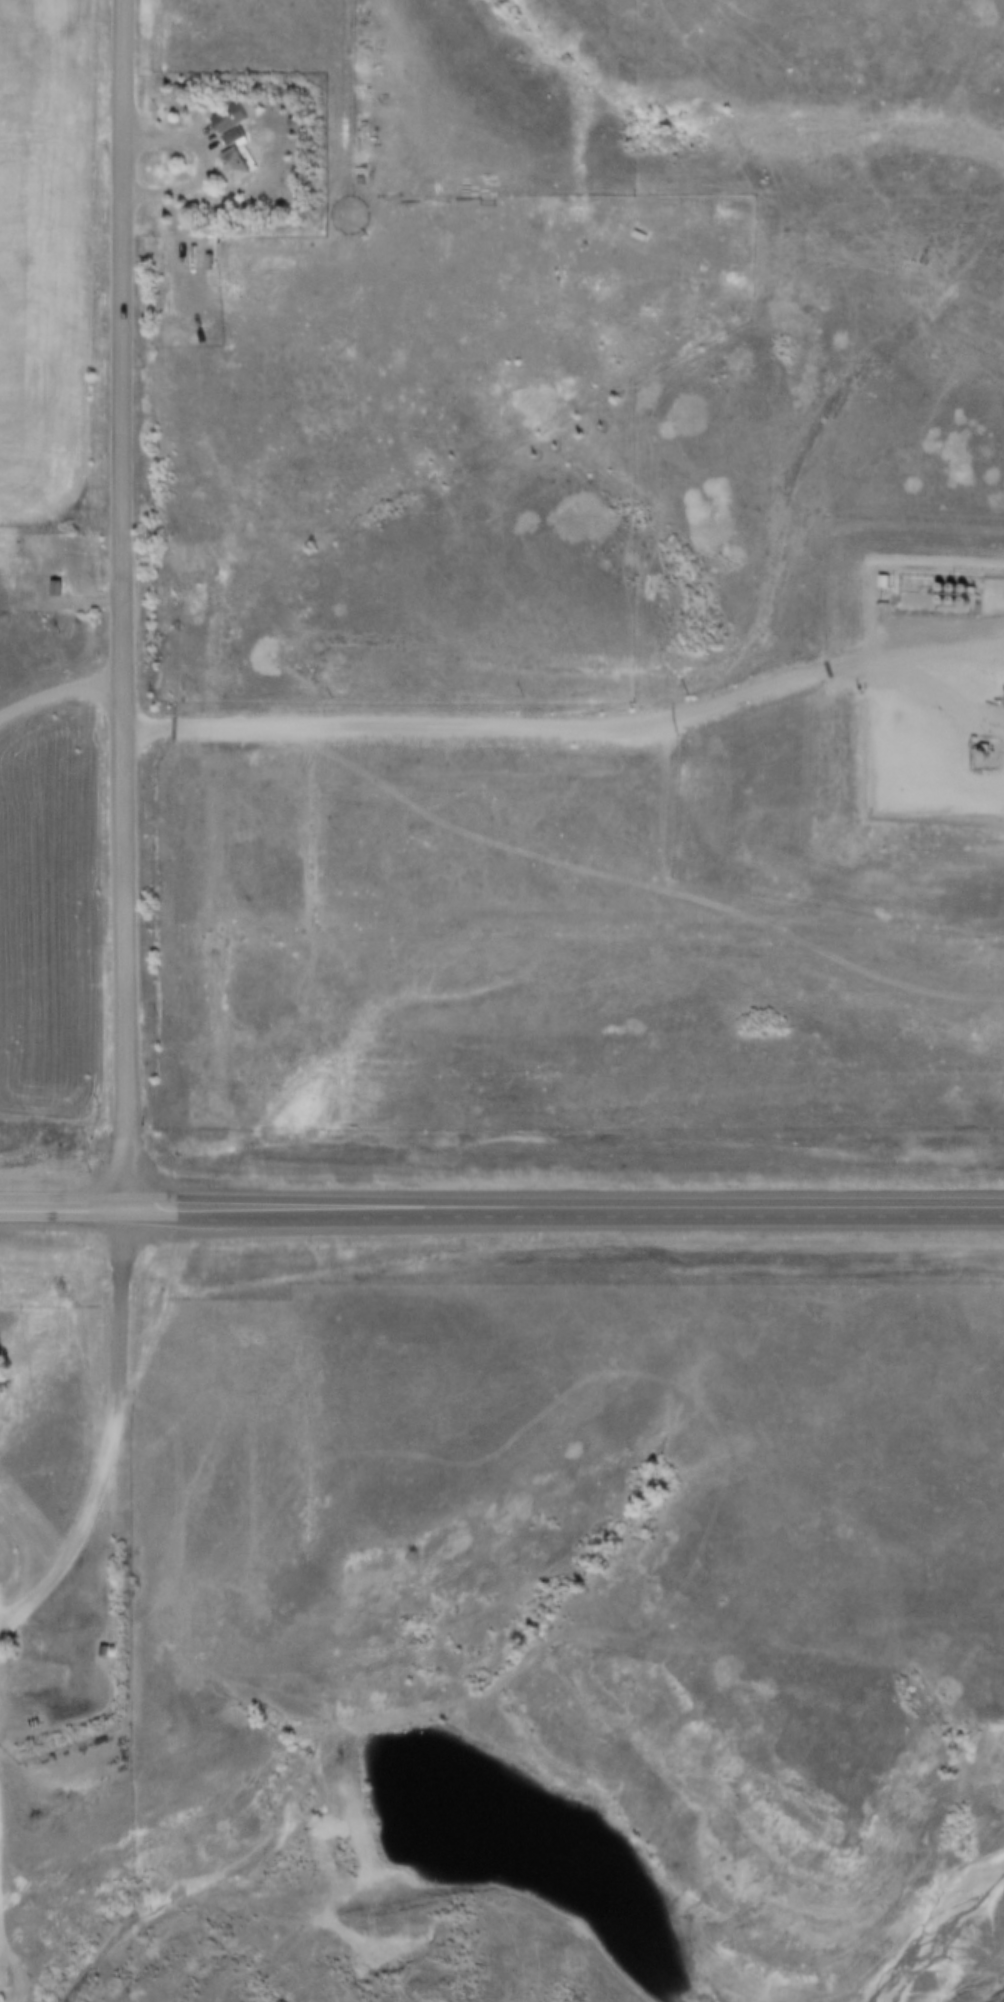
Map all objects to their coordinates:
building: (233, 122)
building: (239, 163)
road: (205, 168)
road: (124, 605)
road: (60, 694)
road: (481, 730)
road: (564, 1210)
road: (63, 1211)
road: (114, 1439)
building: (27, 1673)

